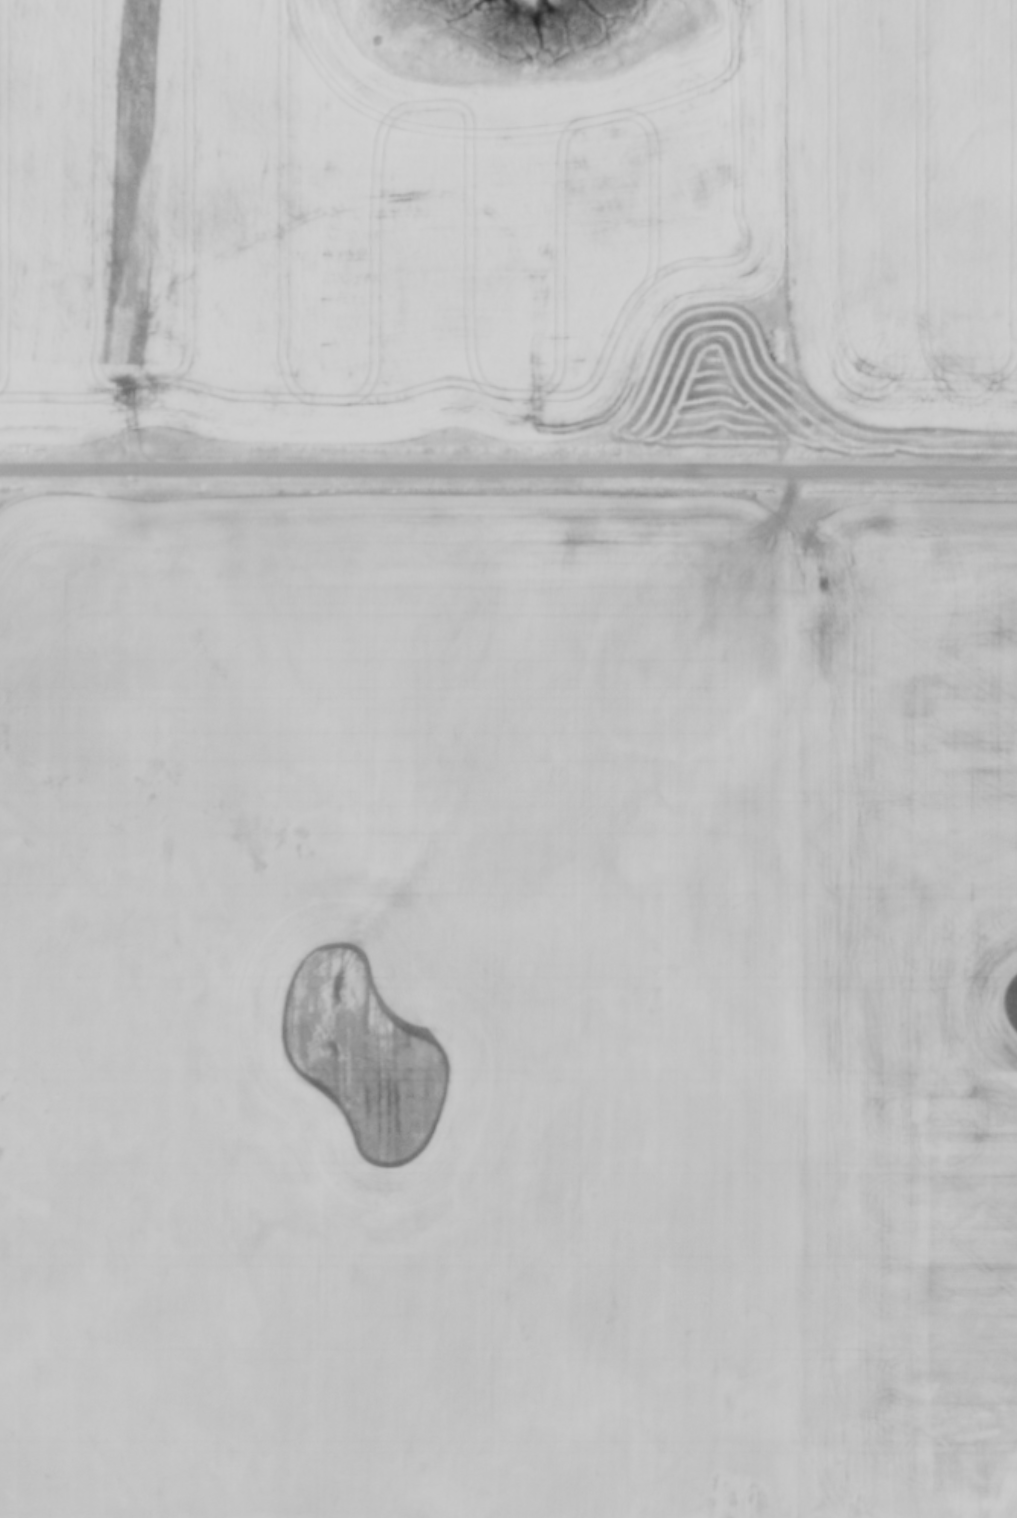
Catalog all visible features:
road: (508, 469)

